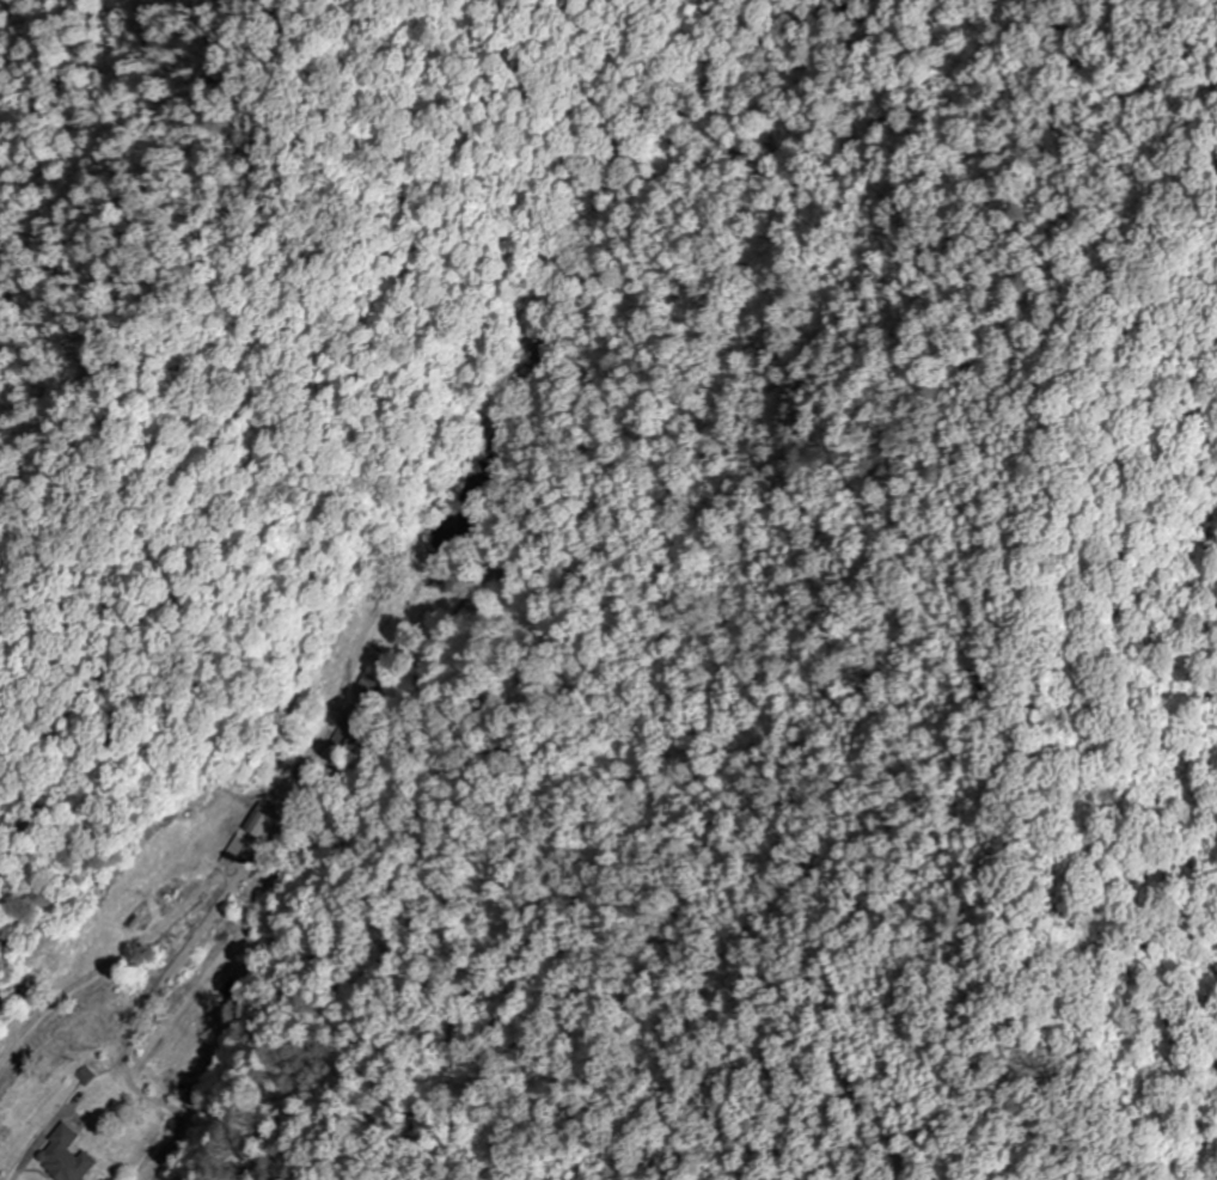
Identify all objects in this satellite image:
building: (267, 824)
building: (63, 1156)
road: (424, 1175)

